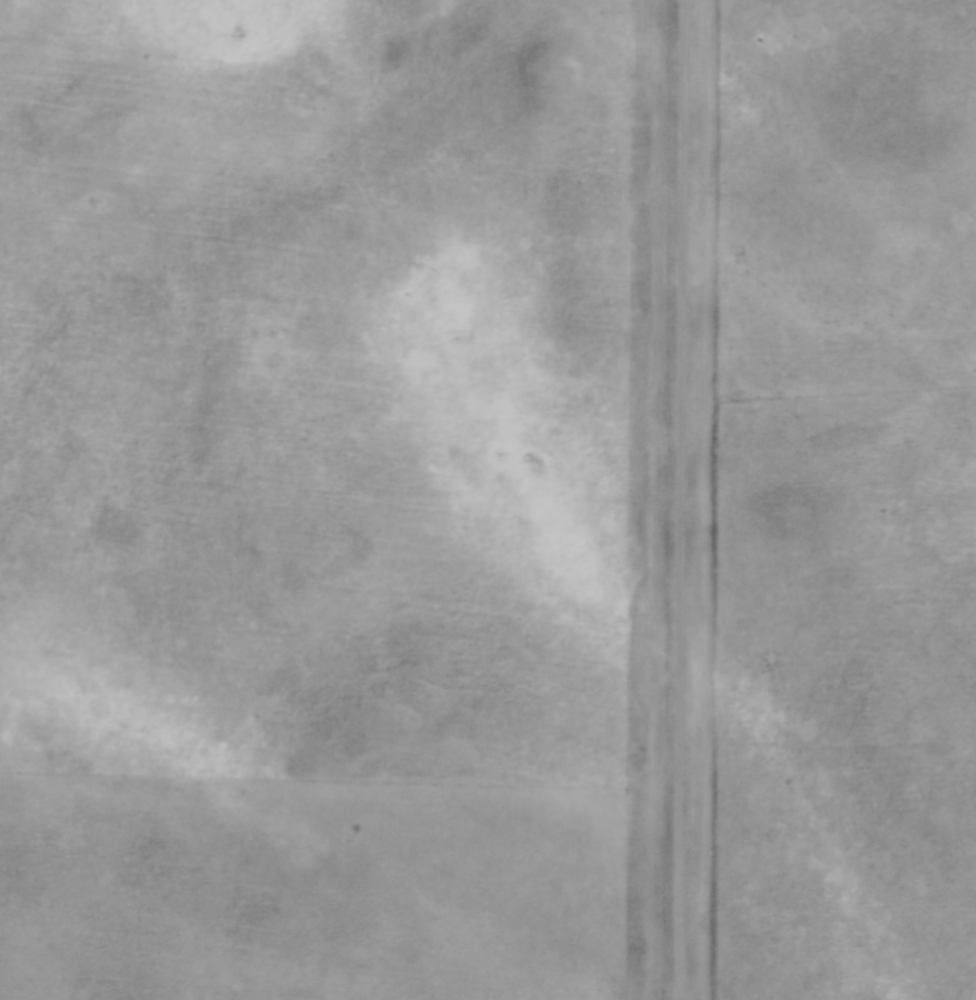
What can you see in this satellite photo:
road: (685, 499)

